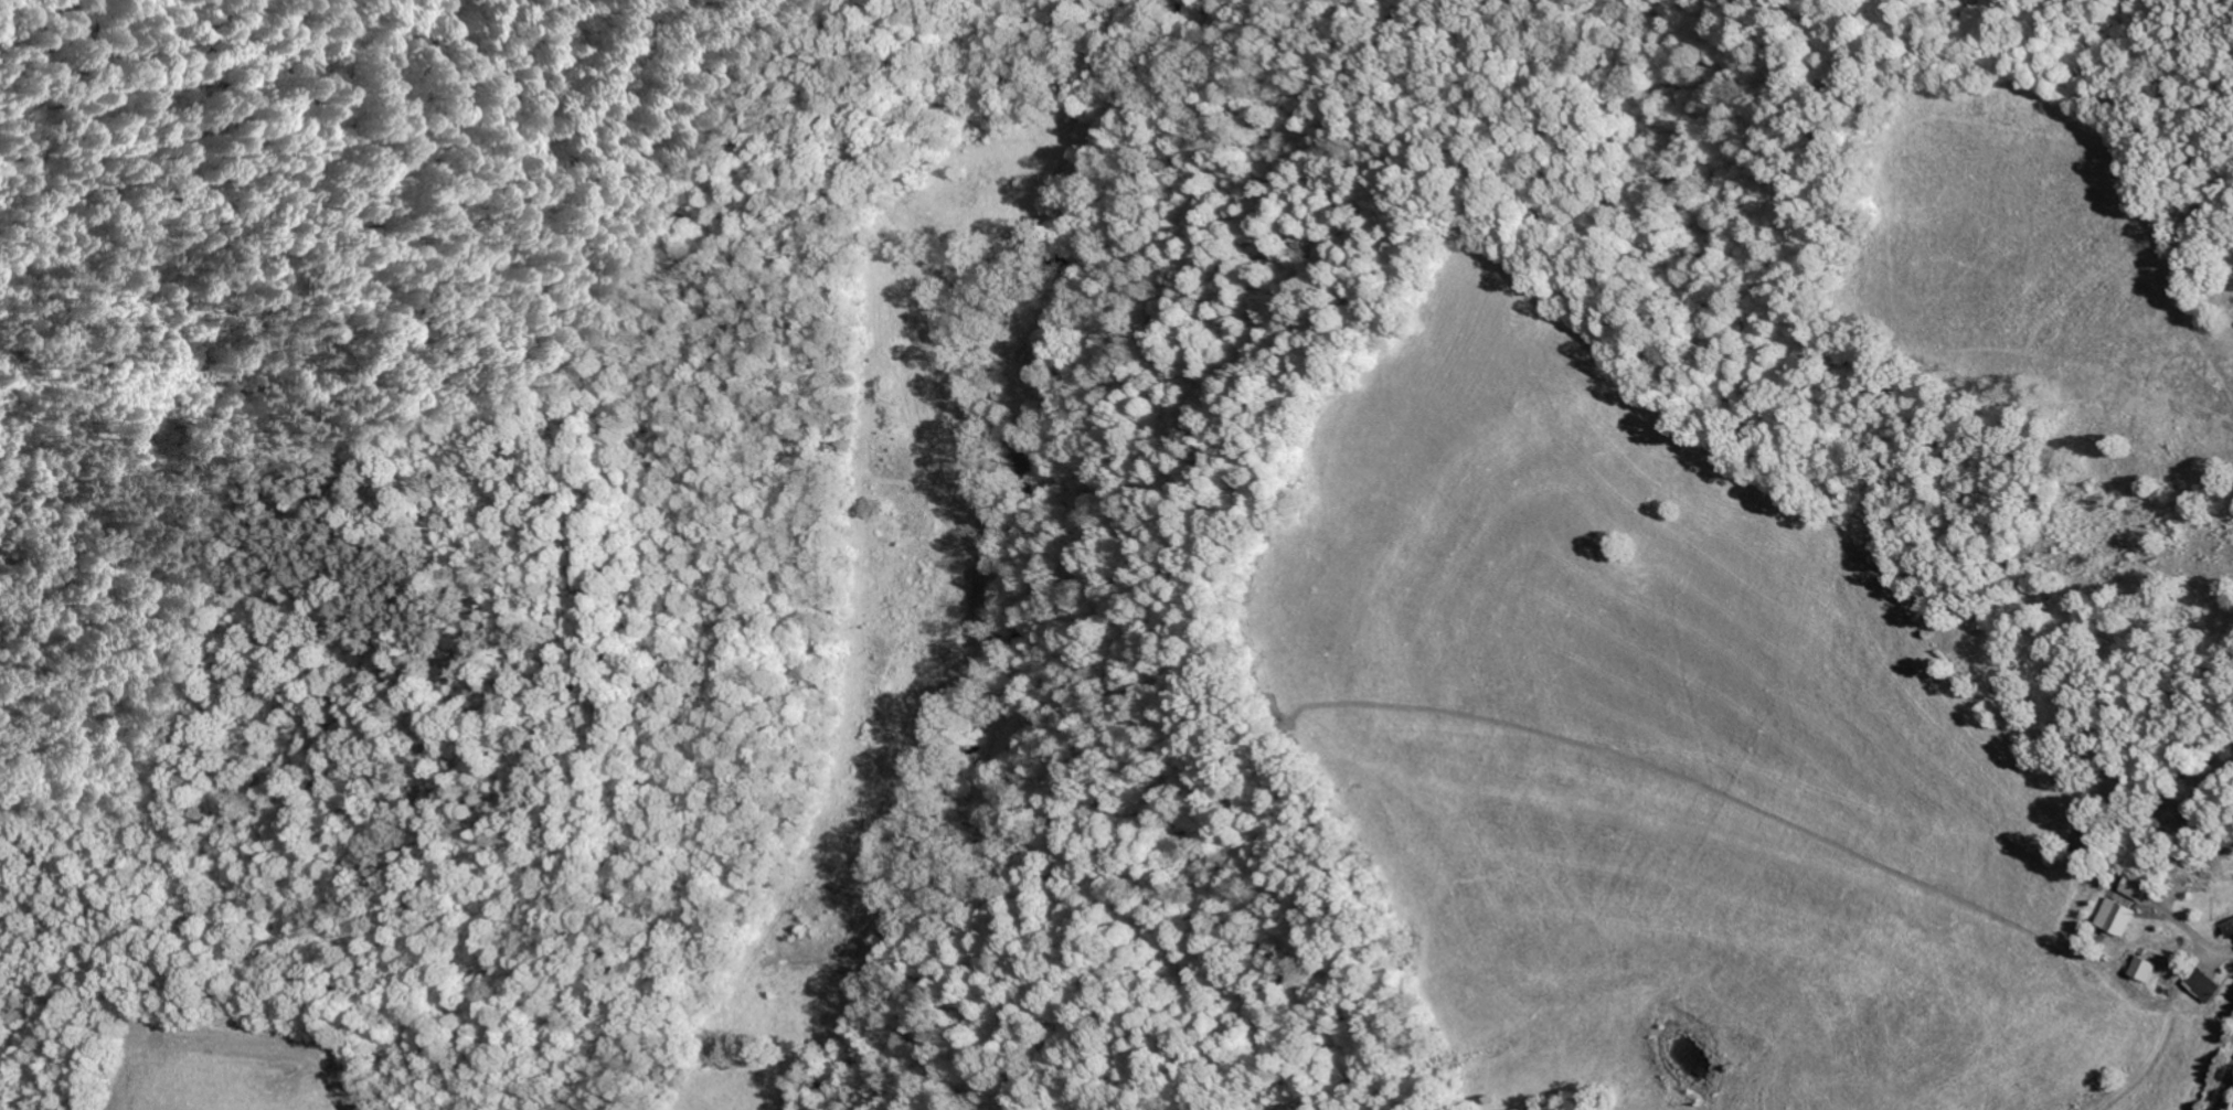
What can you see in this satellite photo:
building: (2133, 887)
building: (2114, 916)
building: (2227, 928)
building: (2200, 983)
road: (2227, 1097)

